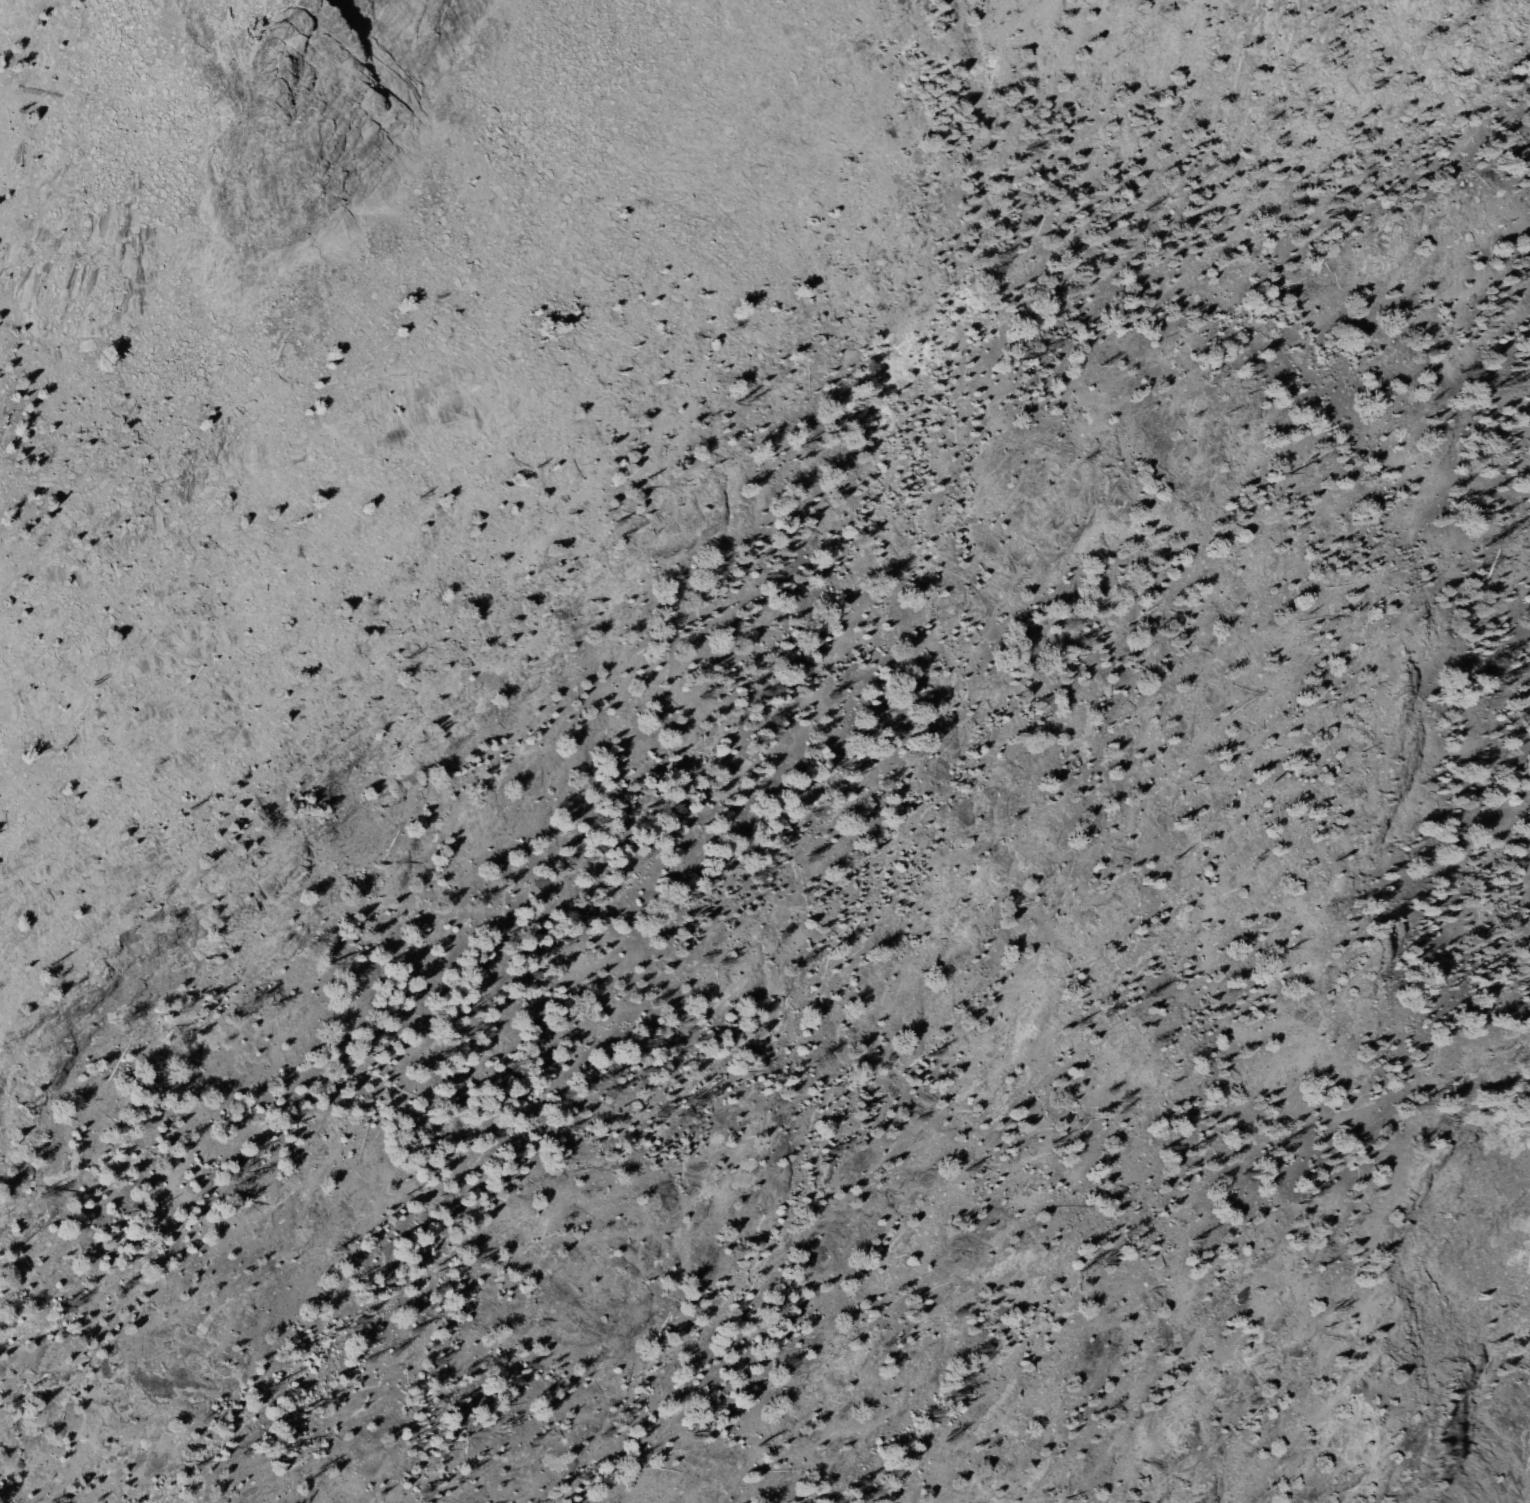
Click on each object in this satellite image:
road: (1503, 15)

